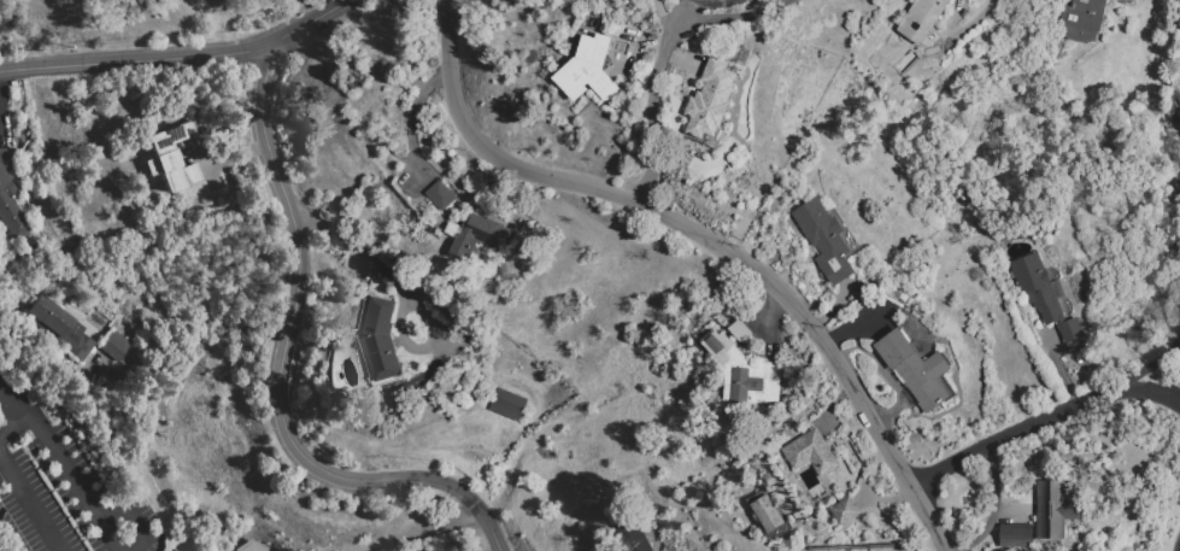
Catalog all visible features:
road: (733, 16)
road: (662, 19)
building: (921, 19)
road: (976, 19)
building: (1082, 19)
road: (176, 57)
building: (587, 71)
building: (711, 102)
road: (648, 112)
road: (410, 119)
building: (169, 158)
building: (10, 197)
building: (440, 197)
building: (477, 236)
building: (827, 239)
road: (706, 241)
road: (399, 294)
building: (1046, 295)
building: (59, 324)
building: (381, 341)
building: (113, 344)
road: (1152, 367)
road: (282, 368)
building: (916, 370)
building: (741, 373)
road: (6, 394)
building: (507, 405)
road: (23, 410)
road: (1041, 420)
road: (17, 428)
building: (810, 453)
road: (66, 470)
parking lot: (66, 502)
road: (29, 503)
building: (1053, 510)
building: (844, 511)
building: (769, 514)
road: (129, 517)
road: (425, 534)
road: (106, 537)
building: (1016, 537)
building: (629, 538)
road: (2, 545)
building: (251, 546)

